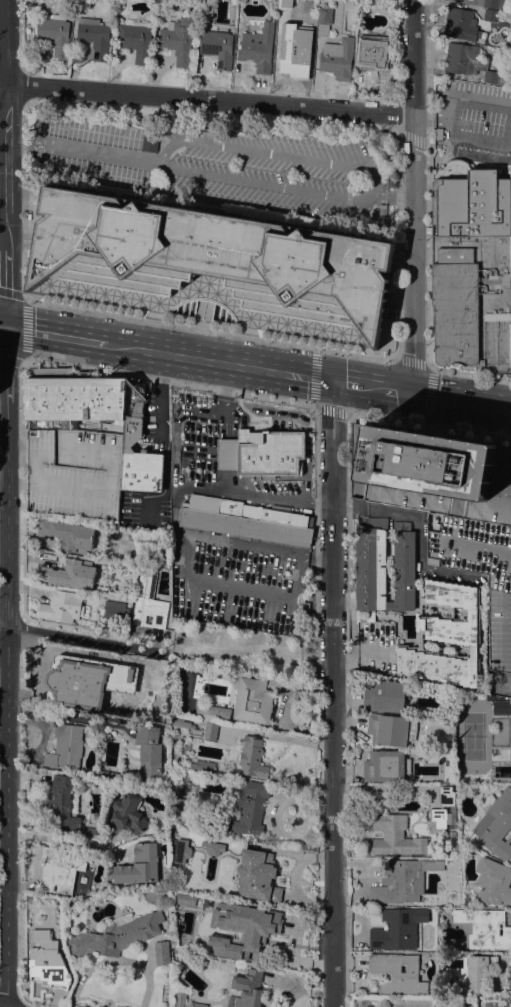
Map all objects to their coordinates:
building: (491, 3)
building: (363, 4)
building: (505, 4)
building: (492, 14)
building: (324, 19)
building: (461, 23)
building: (55, 33)
building: (95, 36)
building: (179, 38)
building: (136, 39)
building: (218, 46)
building: (258, 47)
road: (3, 50)
building: (294, 55)
building: (374, 56)
building: (338, 58)
building: (470, 62)
building: (497, 62)
building: (439, 83)
building: (470, 90)
road: (209, 99)
road: (423, 115)
road: (442, 116)
road: (7, 124)
road: (506, 125)
building: (439, 133)
building: (149, 141)
road: (270, 152)
road: (209, 174)
road: (3, 181)
road: (23, 191)
road: (413, 196)
road: (396, 235)
road: (427, 241)
building: (211, 256)
building: (473, 270)
road: (7, 287)
road: (3, 325)
traffic signals: (7, 326)
road: (24, 328)
road: (209, 330)
road: (57, 334)
road: (219, 362)
road: (6, 363)
road: (469, 372)
road: (427, 378)
road: (168, 381)
traffic signals: (332, 381)
road: (345, 383)
road: (371, 387)
road: (397, 390)
traffic signals: (411, 392)
road: (314, 396)
road: (460, 400)
building: (132, 414)
road: (21, 420)
road: (431, 425)
building: (74, 443)
road: (17, 451)
building: (263, 452)
road: (14, 482)
road: (354, 505)
building: (448, 505)
building: (246, 520)
road: (347, 532)
building: (70, 535)
building: (105, 543)
road: (315, 545)
building: (384, 567)
building: (71, 574)
building: (149, 603)
building: (62, 606)
building: (116, 611)
building: (474, 612)
road: (78, 639)
building: (421, 643)
road: (362, 649)
building: (473, 650)
building: (438, 666)
building: (87, 681)
road: (332, 693)
building: (387, 696)
building: (256, 698)
road: (9, 704)
building: (501, 704)
building: (206, 712)
road: (65, 713)
building: (182, 722)
building: (388, 729)
building: (211, 731)
building: (510, 738)
building: (66, 747)
building: (149, 750)
building: (253, 757)
building: (204, 765)
building: (386, 765)
building: (510, 770)
building: (107, 773)
building: (446, 794)
building: (63, 802)
building: (178, 803)
building: (247, 806)
building: (127, 815)
building: (439, 816)
building: (496, 824)
building: (93, 832)
building: (394, 836)
road: (61, 838)
building: (213, 847)
building: (181, 850)
building: (139, 865)
building: (61, 869)
building: (257, 875)
building: (403, 880)
building: (493, 881)
building: (467, 896)
building: (208, 906)
building: (483, 927)
building: (397, 928)
building: (116, 936)
building: (230, 937)
building: (163, 952)
building: (48, 959)
building: (399, 972)
building: (477, 973)
building: (247, 989)
building: (181, 999)
building: (494, 1003)
building: (200, 1004)

